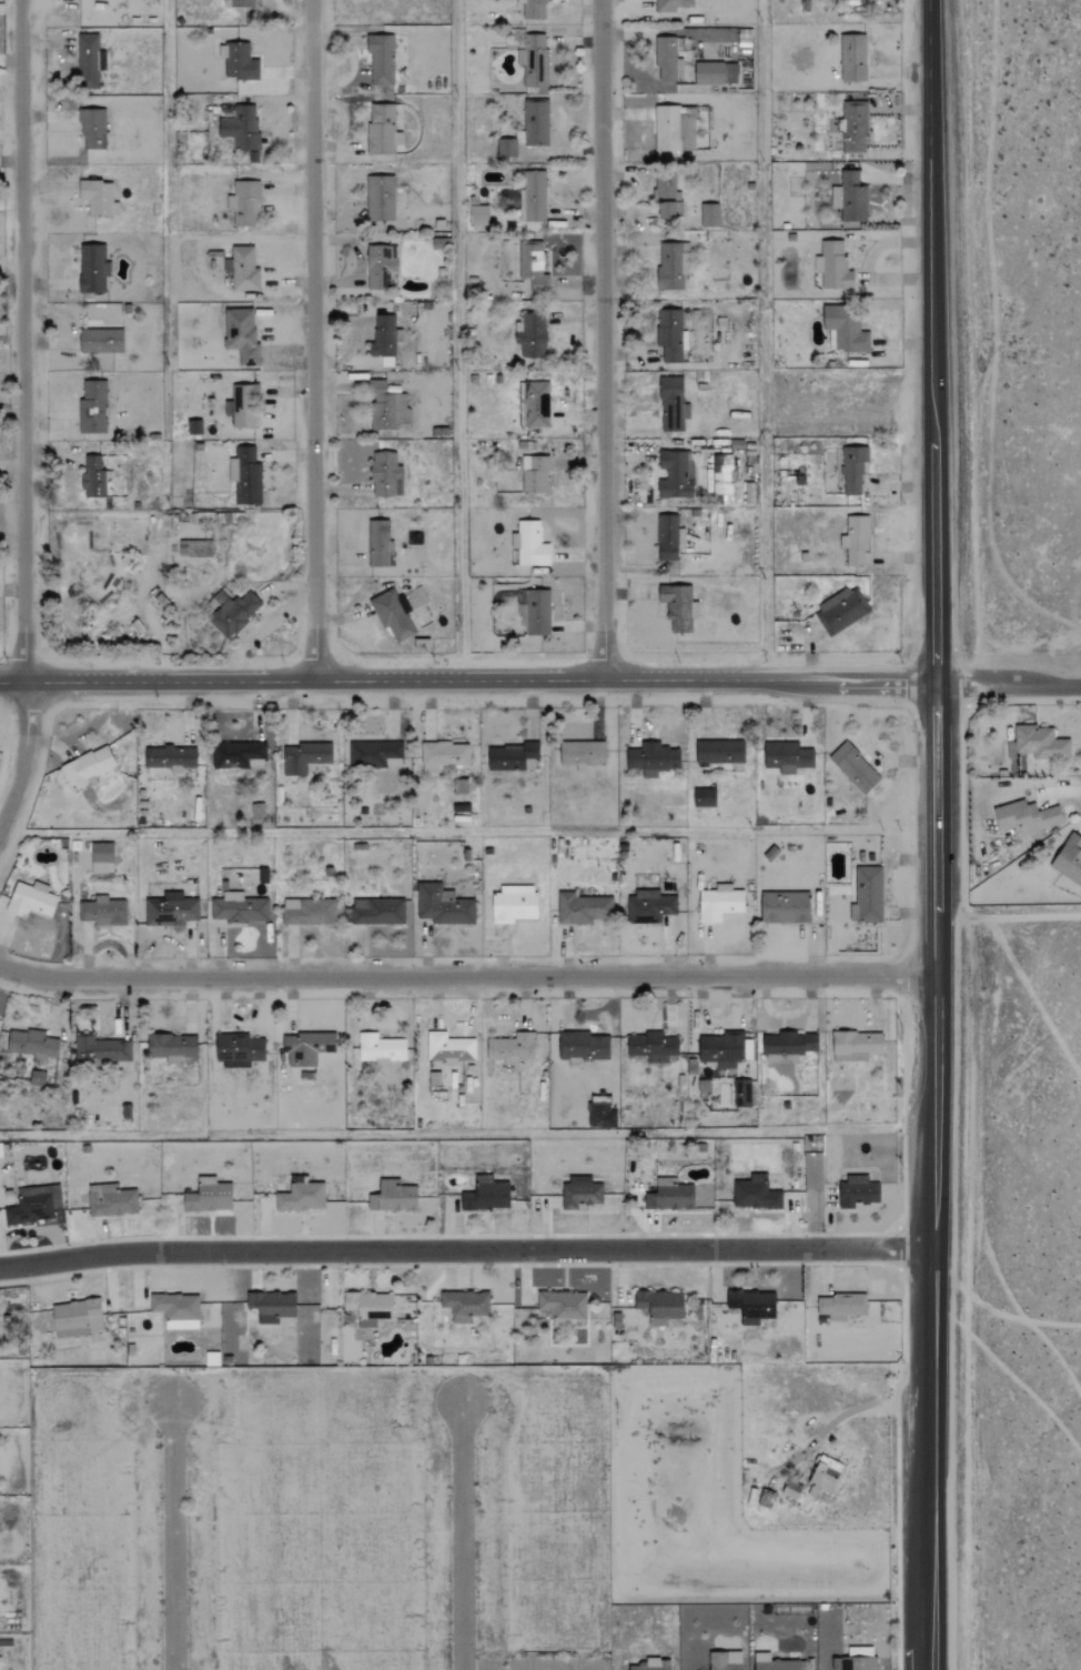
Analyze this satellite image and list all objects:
building: (242, 3)
building: (674, 4)
building: (533, 9)
building: (667, 58)
building: (852, 58)
building: (381, 59)
building: (89, 61)
building: (534, 61)
building: (239, 62)
building: (715, 73)
building: (536, 123)
building: (241, 128)
building: (855, 128)
building: (92, 129)
building: (675, 129)
building: (382, 130)
building: (506, 148)
building: (666, 195)
building: (532, 197)
building: (850, 198)
building: (98, 199)
building: (380, 199)
building: (243, 203)
building: (478, 214)
building: (709, 215)
building: (673, 265)
building: (381, 266)
building: (832, 266)
building: (93, 269)
building: (244, 270)
building: (532, 270)
building: (846, 329)
building: (242, 335)
building: (532, 335)
building: (670, 335)
road: (599, 336)
road: (311, 338)
building: (385, 339)
road: (931, 340)
building: (101, 341)
building: (537, 404)
building: (673, 405)
building: (92, 406)
building: (244, 406)
building: (391, 406)
road: (21, 414)
building: (194, 427)
building: (852, 470)
building: (385, 475)
building: (534, 475)
building: (676, 475)
building: (245, 476)
building: (94, 477)
building: (724, 482)
building: (669, 537)
building: (856, 540)
building: (378, 543)
building: (529, 545)
building: (679, 607)
building: (841, 611)
building: (232, 613)
building: (536, 613)
building: (393, 614)
road: (467, 674)
road: (1008, 680)
building: (1040, 744)
building: (719, 752)
building: (238, 755)
building: (375, 755)
building: (583, 755)
building: (443, 756)
building: (170, 757)
building: (305, 757)
building: (512, 757)
building: (787, 757)
building: (653, 759)
building: (88, 768)
building: (855, 768)
building: (704, 798)
building: (257, 812)
building: (1027, 817)
building: (101, 857)
building: (1069, 859)
building: (867, 895)
building: (31, 901)
building: (719, 904)
building: (514, 905)
building: (443, 906)
building: (649, 907)
building: (785, 907)
building: (239, 909)
building: (583, 909)
building: (171, 911)
building: (102, 912)
building: (307, 912)
building: (377, 912)
road: (468, 977)
building: (32, 1045)
building: (856, 1045)
building: (651, 1046)
building: (788, 1046)
building: (172, 1047)
building: (306, 1047)
building: (583, 1047)
building: (100, 1048)
building: (380, 1048)
building: (448, 1048)
building: (511, 1048)
building: (726, 1048)
building: (239, 1050)
building: (37, 1078)
building: (704, 1086)
building: (600, 1116)
road: (928, 1176)
building: (857, 1191)
building: (580, 1193)
building: (755, 1194)
building: (486, 1195)
building: (209, 1196)
building: (669, 1196)
building: (301, 1197)
building: (393, 1197)
building: (111, 1200)
building: (33, 1205)
road: (462, 1249)
building: (465, 1305)
building: (271, 1306)
building: (563, 1306)
building: (659, 1306)
building: (752, 1306)
building: (841, 1306)
building: (368, 1307)
building: (397, 1308)
building: (176, 1310)
building: (77, 1318)
building: (824, 1477)
building: (791, 1490)
road: (462, 1533)
road: (172, 1536)
building: (859, 1659)
building: (725, 1660)
building: (775, 1663)
building: (653, 1664)

